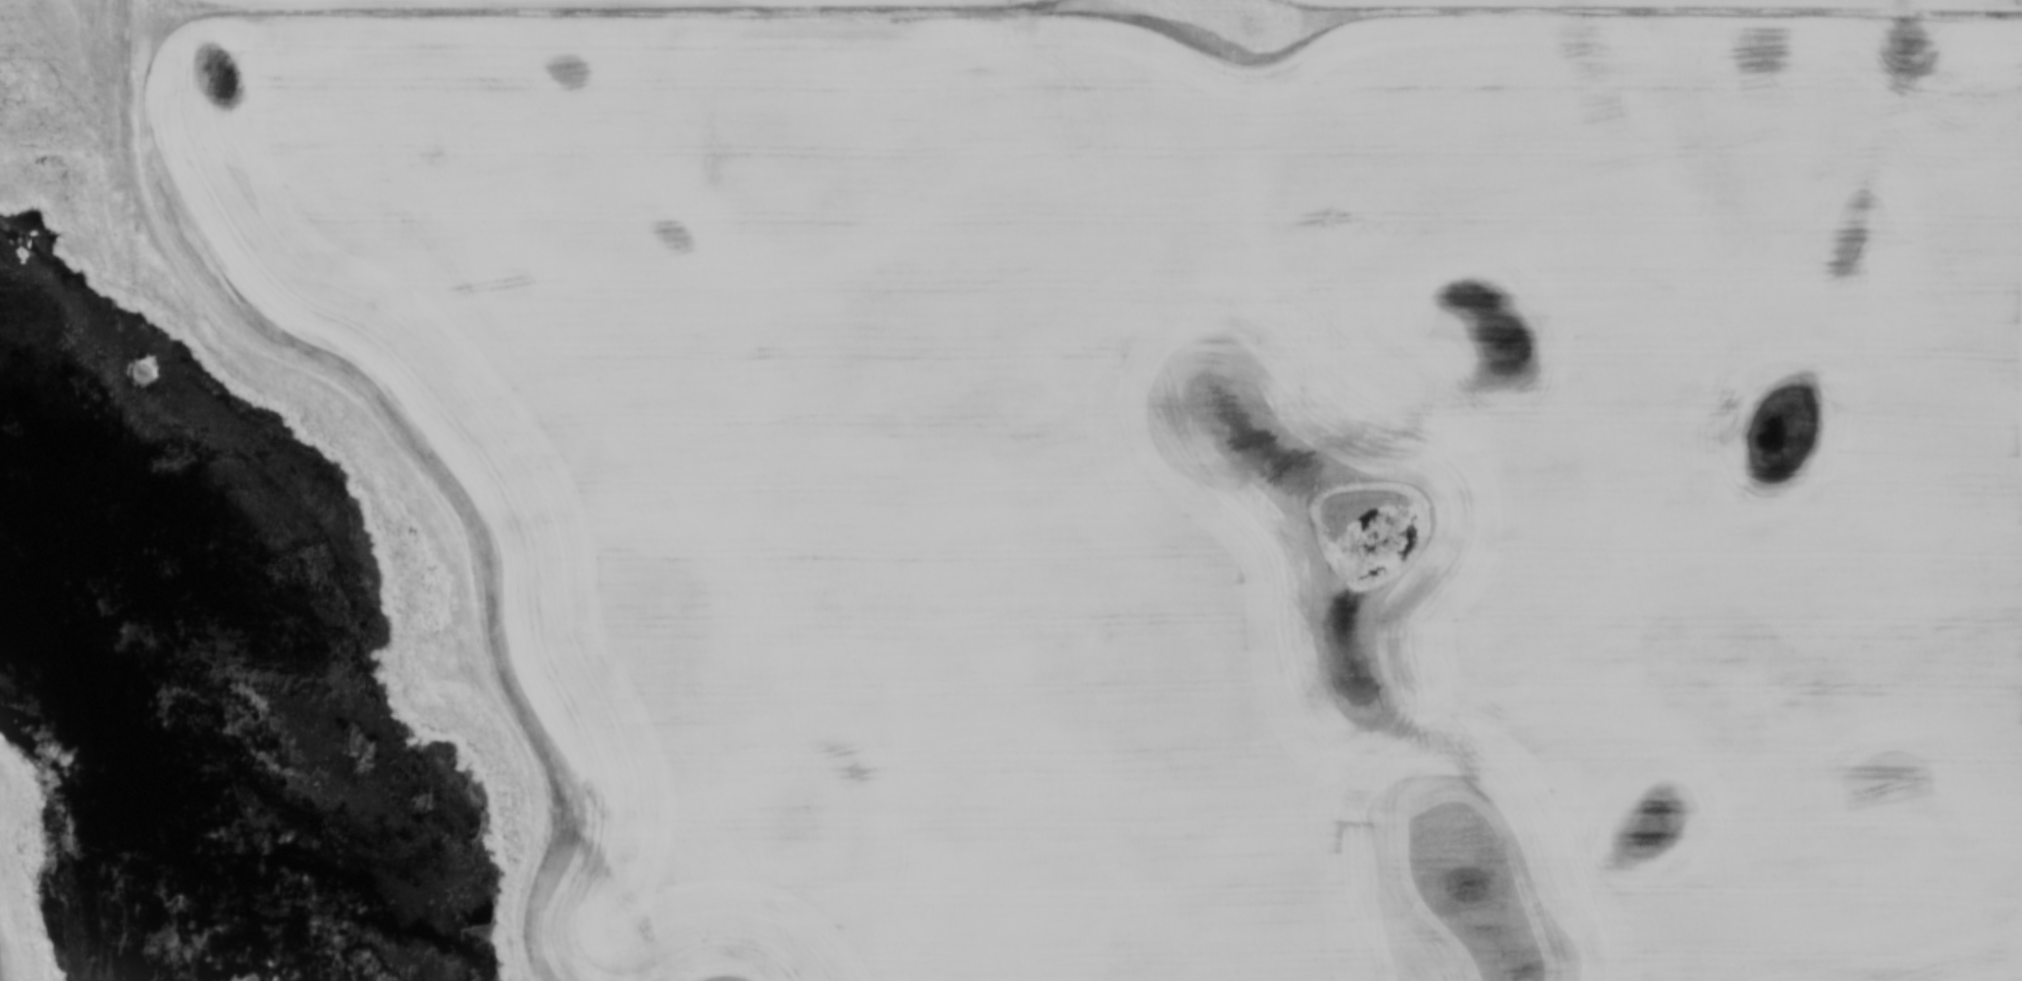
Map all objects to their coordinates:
road: (362, 465)

